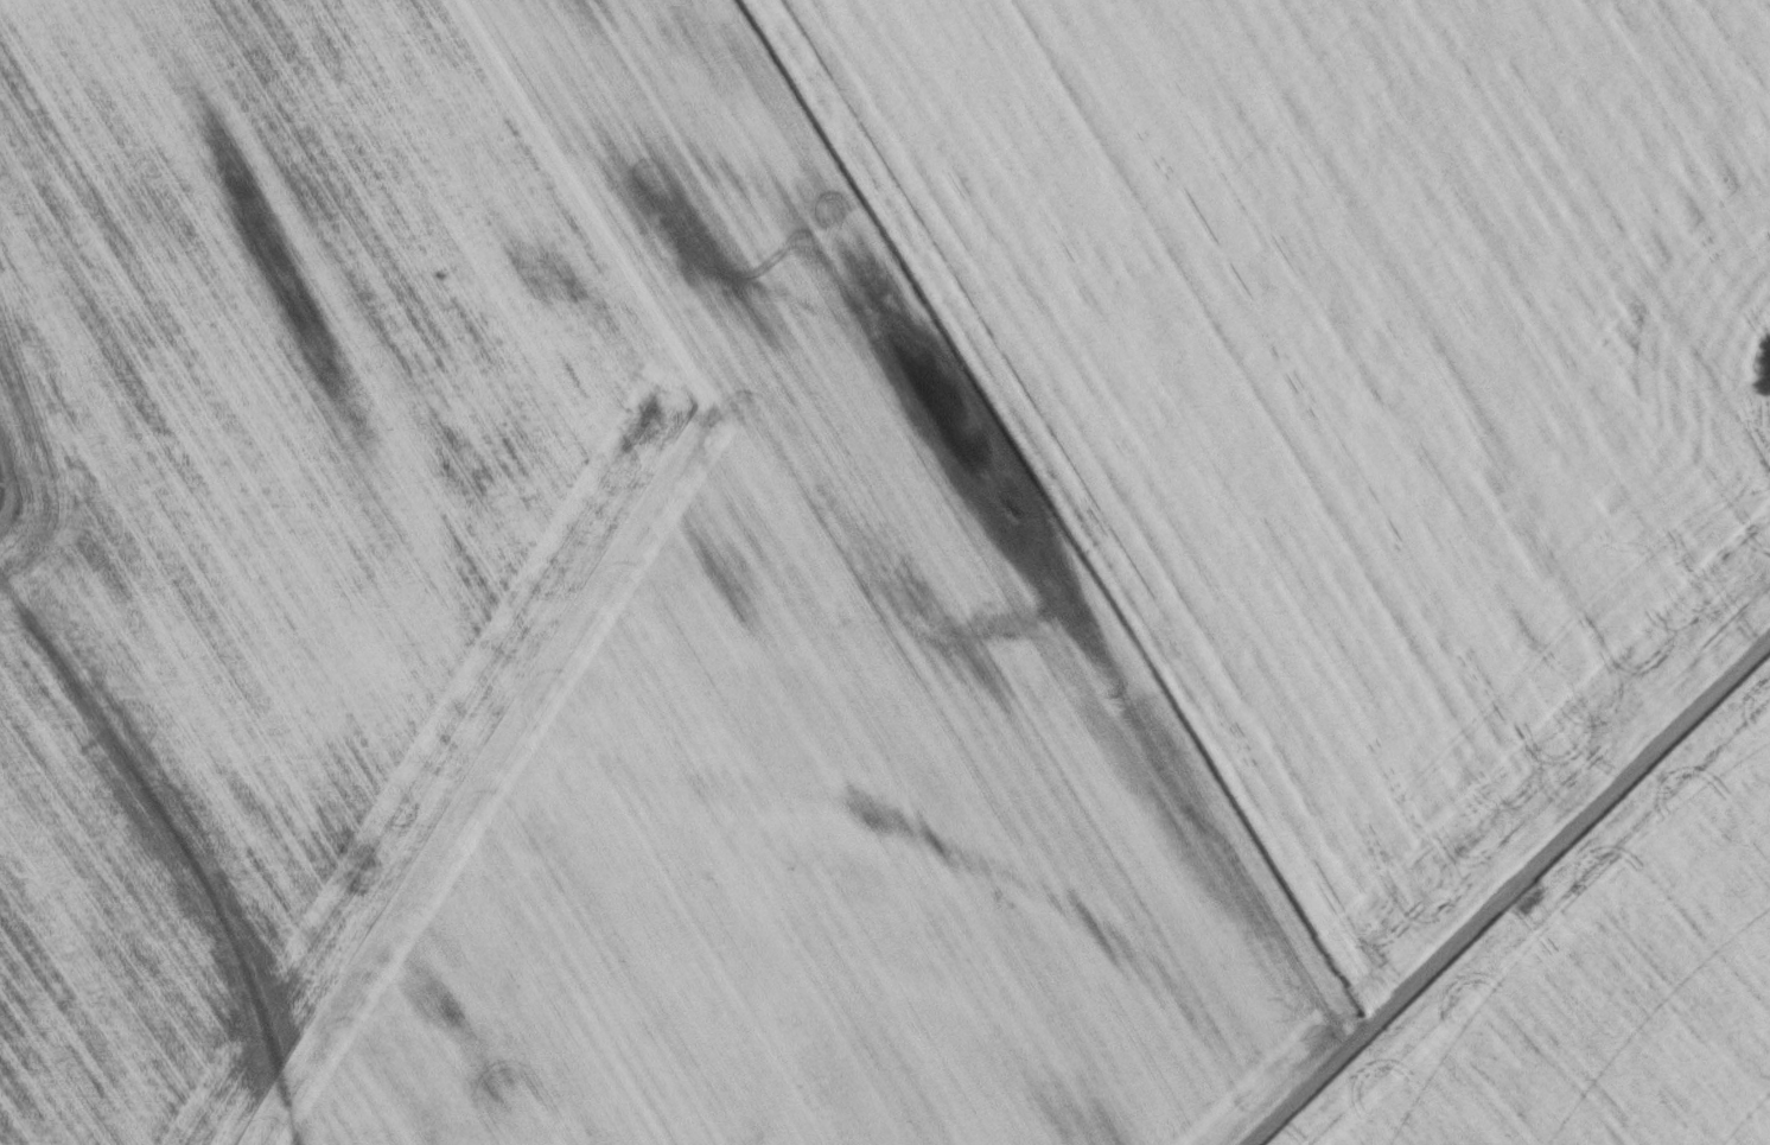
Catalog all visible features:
road: (1509, 893)

